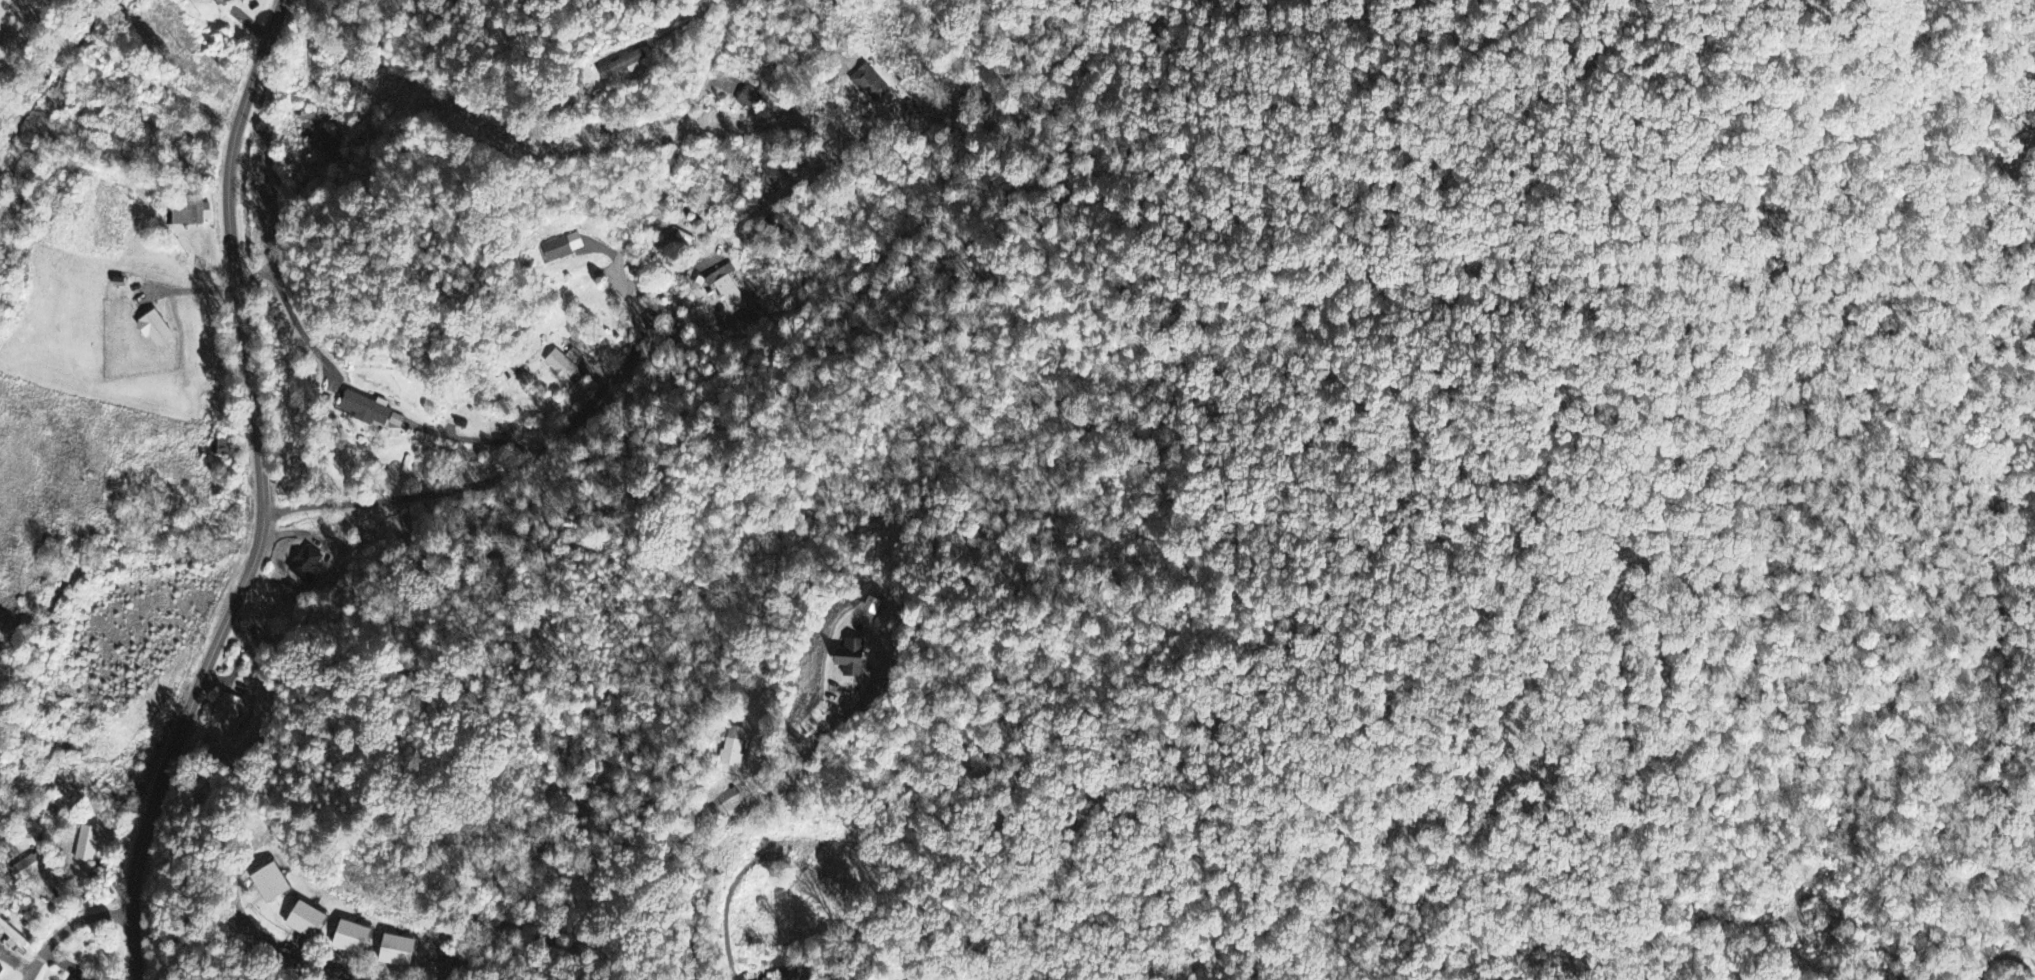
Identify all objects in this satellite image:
building: (810, 0)
building: (231, 1)
road: (818, 42)
building: (624, 65)
building: (870, 84)
building: (751, 100)
building: (314, 130)
building: (189, 212)
building: (563, 247)
building: (727, 289)
building: (157, 330)
building: (564, 365)
road: (588, 405)
building: (368, 410)
road: (262, 497)
building: (853, 659)
building: (226, 711)
building: (733, 747)
road: (792, 772)
building: (87, 845)
road: (714, 857)
building: (26, 871)
road: (740, 876)
building: (272, 885)
building: (308, 922)
road: (67, 926)
building: (13, 936)
building: (354, 939)
building: (398, 952)
road: (294, 954)
road: (16, 962)
building: (0, 968)
building: (72, 979)

